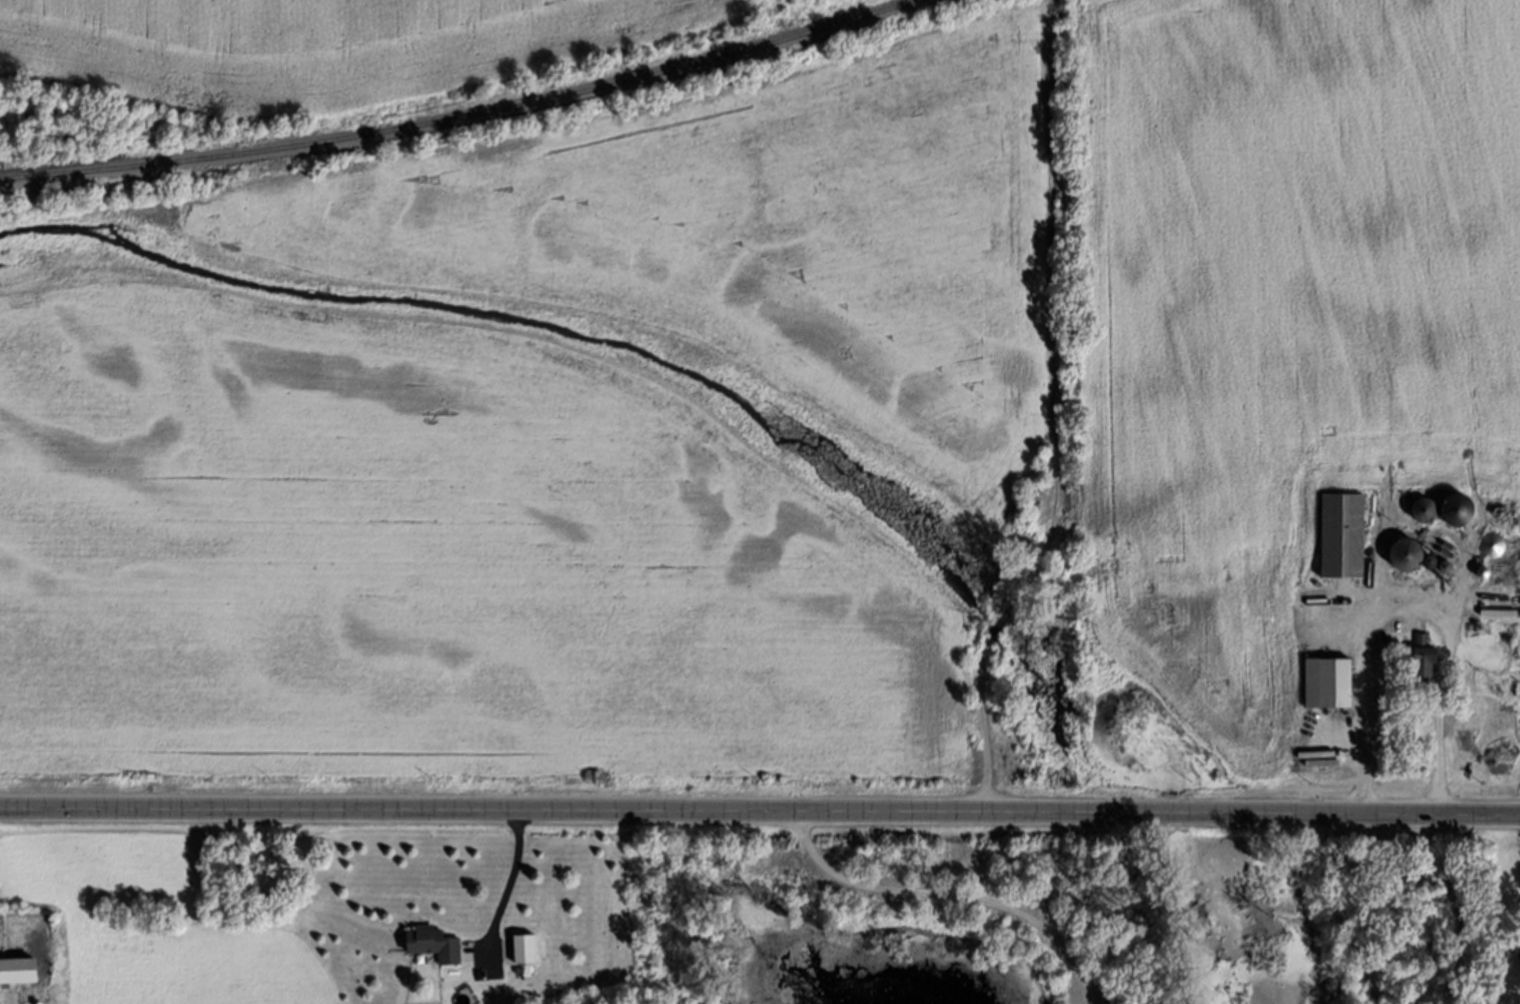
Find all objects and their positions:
railway: (460, 115)
building: (1438, 511)
building: (1336, 537)
building: (1402, 555)
building: (1497, 598)
road: (1408, 607)
building: (1417, 666)
building: (1324, 684)
road: (760, 820)
road: (509, 885)
road: (953, 897)
road: (1341, 916)
building: (437, 944)
building: (1519, 947)
building: (29, 971)

